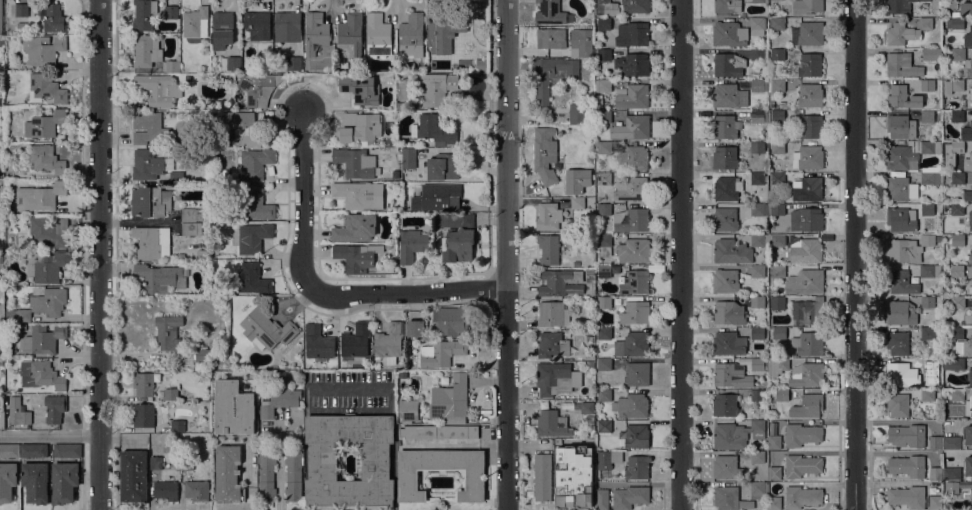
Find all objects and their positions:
building: (757, 0)
building: (602, 2)
building: (950, 3)
building: (635, 5)
building: (727, 6)
building: (807, 6)
building: (899, 6)
building: (966, 7)
building: (608, 8)
building: (21, 9)
building: (171, 11)
building: (549, 12)
building: (144, 14)
building: (53, 17)
building: (955, 22)
building: (0, 23)
building: (604, 23)
building: (777, 23)
building: (22, 24)
building: (195, 24)
building: (257, 24)
building: (937, 24)
building: (287, 26)
building: (444, 26)
building: (757, 26)
building: (222, 29)
building: (906, 31)
building: (943, 31)
building: (315, 32)
building: (351, 33)
building: (632, 33)
building: (729, 33)
building: (810, 33)
building: (377, 35)
building: (411, 36)
building: (551, 37)
building: (968, 37)
building: (1, 42)
building: (763, 42)
building: (42, 49)
building: (584, 49)
building: (145, 53)
building: (602, 54)
building: (759, 54)
building: (778, 54)
building: (928, 54)
building: (958, 54)
building: (231, 62)
building: (293, 63)
building: (633, 64)
building: (728, 64)
building: (810, 64)
building: (899, 64)
building: (172, 65)
building: (967, 68)
building: (551, 75)
building: (188, 77)
building: (786, 78)
building: (604, 85)
building: (758, 85)
building: (927, 85)
building: (776, 86)
building: (952, 86)
building: (259, 87)
building: (45, 88)
building: (158, 88)
building: (360, 88)
building: (437, 88)
building: (970, 93)
building: (810, 94)
building: (729, 95)
building: (633, 96)
building: (902, 96)
building: (771, 103)
building: (782, 103)
building: (577, 113)
building: (759, 116)
building: (776, 116)
building: (927, 116)
building: (957, 116)
building: (603, 118)
building: (45, 124)
building: (637, 126)
building: (726, 126)
building: (810, 126)
building: (900, 126)
building: (148, 127)
building: (360, 127)
building: (245, 128)
building: (433, 130)
building: (966, 131)
building: (954, 146)
building: (757, 147)
building: (778, 147)
building: (928, 147)
building: (394, 149)
building: (545, 154)
building: (626, 154)
building: (408, 157)
building: (725, 157)
building: (808, 157)
building: (902, 158)
building: (46, 159)
building: (256, 162)
building: (355, 162)
building: (968, 162)
building: (150, 164)
building: (442, 166)
building: (176, 177)
building: (603, 177)
building: (958, 177)
building: (758, 178)
building: (777, 178)
building: (931, 178)
building: (587, 188)
building: (631, 188)
building: (726, 188)
building: (810, 188)
building: (901, 188)
building: (355, 194)
building: (41, 195)
building: (967, 195)
building: (437, 197)
building: (793, 198)
building: (150, 201)
building: (577, 202)
road: (304, 203)
building: (256, 204)
building: (945, 205)
building: (603, 208)
building: (957, 208)
building: (767, 209)
building: (927, 209)
building: (191, 214)
building: (548, 215)
building: (725, 218)
building: (806, 219)
building: (901, 219)
building: (970, 219)
building: (454, 220)
building: (633, 220)
building: (356, 227)
building: (192, 228)
building: (49, 231)
building: (253, 237)
building: (927, 238)
building: (939, 238)
building: (958, 239)
building: (758, 240)
building: (778, 240)
building: (151, 241)
building: (412, 244)
building: (457, 244)
building: (603, 244)
building: (548, 249)
building: (633, 250)
building: (903, 250)
building: (731, 251)
building: (805, 251)
road: (101, 254)
building: (201, 254)
road: (507, 254)
road: (680, 255)
road: (853, 255)
building: (180, 256)
building: (357, 256)
building: (970, 258)
building: (576, 263)
building: (45, 266)
building: (757, 270)
building: (604, 271)
building: (778, 271)
building: (928, 271)
building: (957, 271)
building: (590, 272)
building: (160, 277)
building: (0, 278)
building: (253, 279)
building: (725, 280)
building: (971, 280)
building: (557, 281)
building: (805, 281)
building: (900, 281)
building: (635, 282)
building: (970, 289)
road: (406, 295)
building: (938, 299)
building: (928, 301)
building: (604, 302)
building: (757, 302)
building: (946, 302)
building: (958, 302)
building: (778, 303)
building: (40, 305)
building: (971, 308)
building: (635, 310)
building: (726, 312)
building: (808, 312)
building: (901, 312)
building: (552, 313)
building: (449, 321)
building: (415, 328)
building: (266, 329)
building: (168, 331)
building: (927, 332)
building: (604, 333)
building: (757, 333)
building: (779, 333)
building: (957, 333)
building: (44, 338)
building: (356, 340)
building: (389, 341)
building: (898, 342)
building: (318, 343)
building: (729, 343)
building: (808, 343)
building: (553, 344)
building: (632, 344)
building: (914, 345)
building: (964, 347)
building: (441, 352)
building: (217, 353)
building: (202, 354)
building: (939, 361)
building: (591, 363)
building: (927, 363)
building: (954, 363)
building: (604, 364)
building: (757, 364)
building: (777, 366)
building: (808, 372)
building: (637, 373)
building: (901, 374)
building: (42, 375)
building: (731, 375)
building: (969, 375)
building: (554, 378)
building: (143, 383)
building: (928, 393)
building: (171, 394)
building: (957, 394)
building: (604, 395)
building: (757, 395)
building: (782, 395)
building: (450, 400)
building: (279, 401)
building: (725, 404)
building: (898, 404)
building: (631, 405)
building: (808, 406)
building: (970, 406)
building: (234, 407)
building: (585, 407)
building: (55, 408)
building: (409, 410)
building: (144, 415)
building: (25, 417)
building: (1, 419)
building: (590, 419)
building: (552, 423)
building: (177, 425)
building: (604, 426)
building: (759, 428)
building: (439, 431)
building: (591, 431)
road: (51, 434)
building: (802, 434)
building: (968, 434)
building: (634, 435)
building: (907, 435)
building: (728, 436)
building: (774, 442)
building: (935, 442)
building: (951, 442)
road: (443, 444)
road: (494, 445)
building: (9, 450)
building: (33, 450)
building: (67, 450)
building: (757, 456)
building: (608, 459)
building: (376, 460)
building: (155, 462)
building: (187, 462)
building: (802, 465)
building: (907, 465)
building: (968, 465)
building: (637, 466)
building: (726, 467)
road: (81, 472)
building: (774, 473)
building: (935, 473)
building: (951, 473)
building: (228, 474)
building: (134, 475)
building: (267, 475)
building: (293, 476)
building: (573, 476)
building: (542, 477)
road: (249, 478)
building: (408, 479)
building: (7, 480)
building: (36, 481)
building: (64, 481)
building: (951, 487)
building: (166, 489)
building: (758, 489)
building: (197, 490)
building: (966, 494)
building: (629, 496)
building: (802, 496)
building: (907, 496)
building: (730, 498)
building: (601, 499)
building: (935, 502)
building: (774, 503)

